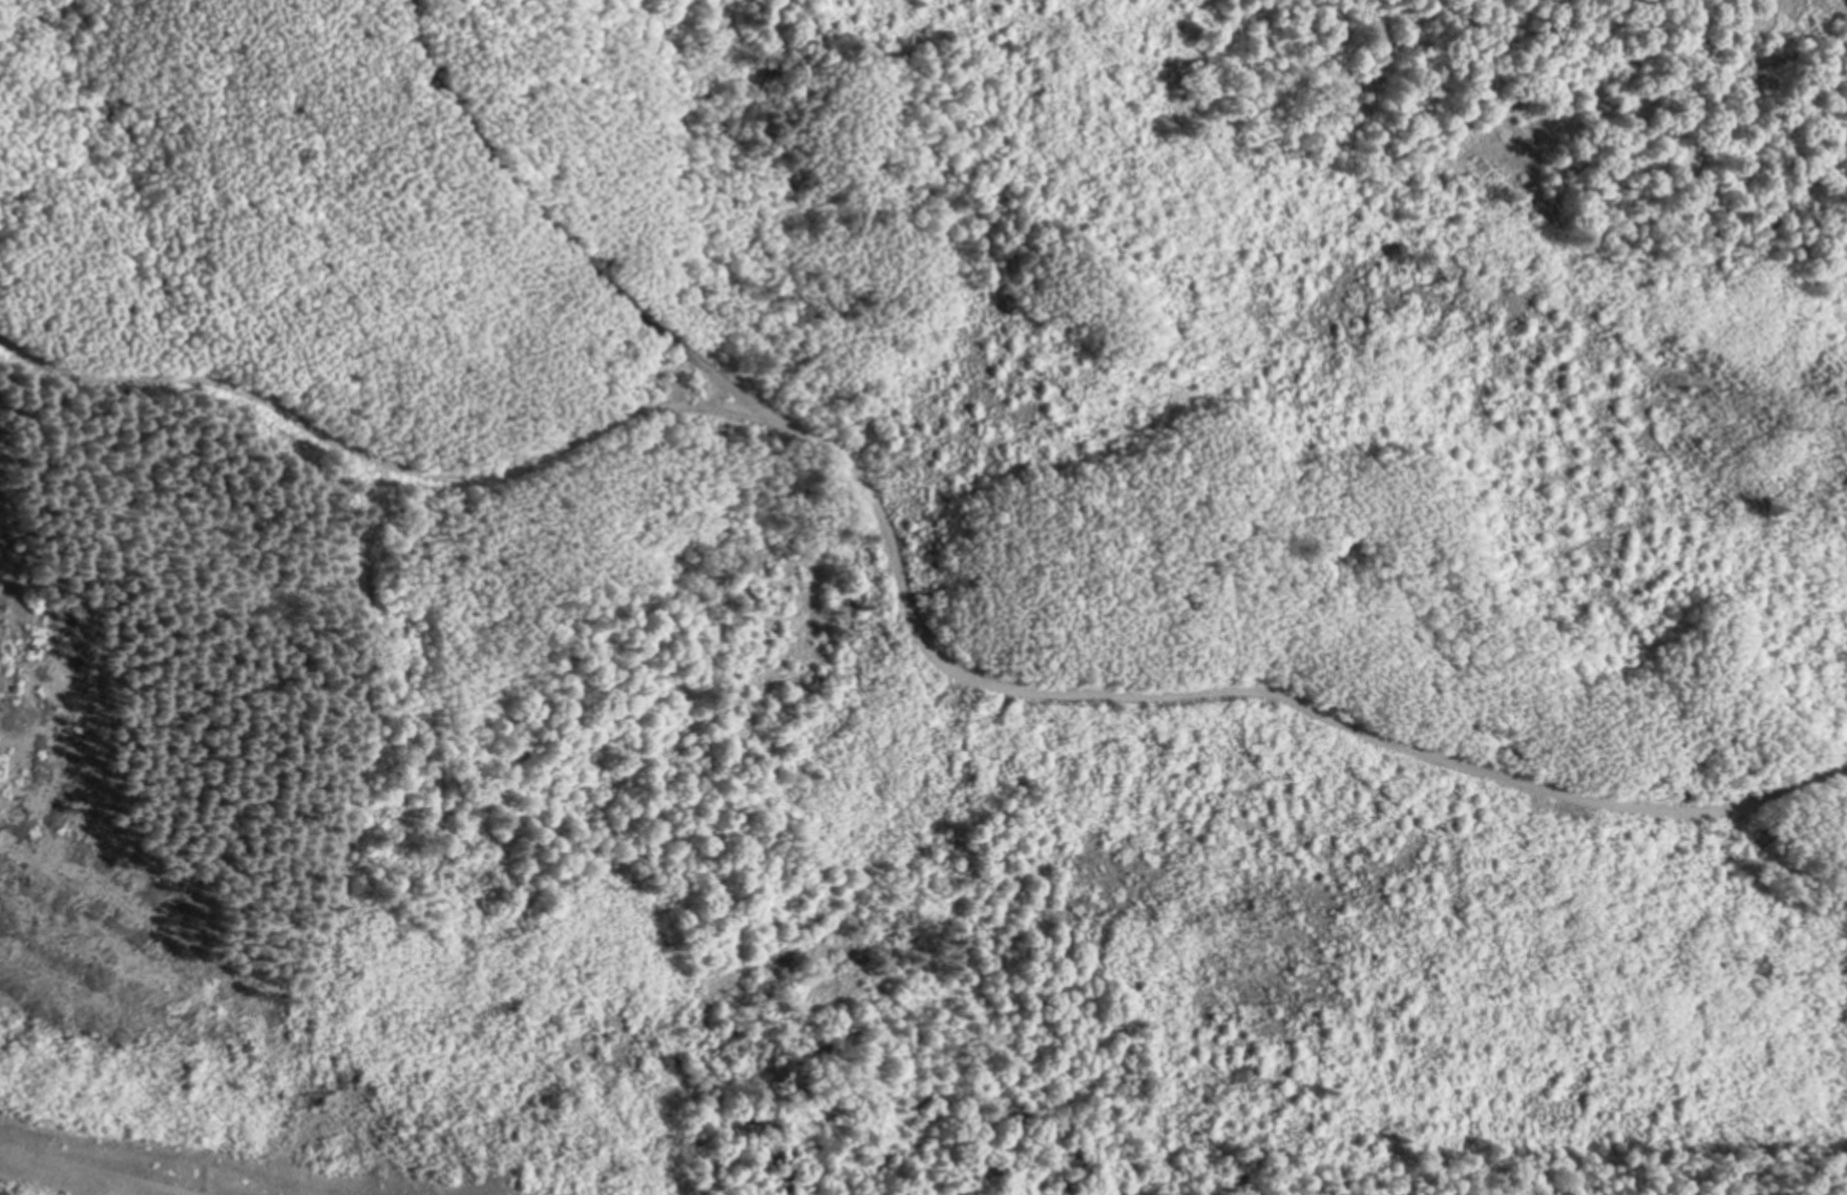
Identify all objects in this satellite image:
road: (98, 1171)

